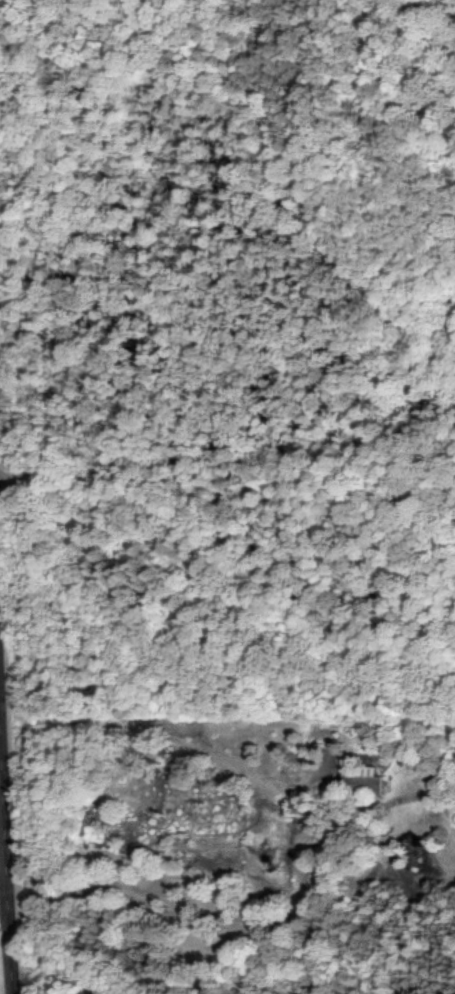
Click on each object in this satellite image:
building: (361, 780)
road: (2, 896)
road: (4, 904)
road: (258, 921)

